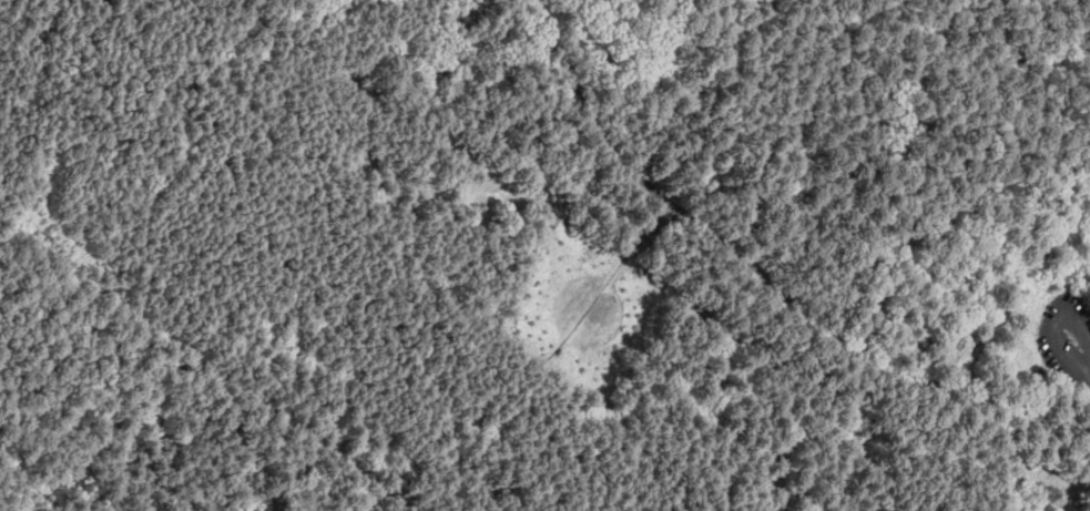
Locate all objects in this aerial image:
road: (897, 18)
road: (399, 24)
road: (669, 54)
road: (131, 103)
road: (517, 140)
road: (685, 156)
road: (675, 163)
road: (681, 165)
road: (281, 205)
road: (105, 273)
road: (763, 279)
road: (82, 294)
road: (71, 320)
road: (1053, 329)
road: (102, 331)
parking lot: (1068, 338)
road: (68, 348)
road: (546, 361)
road: (123, 374)

